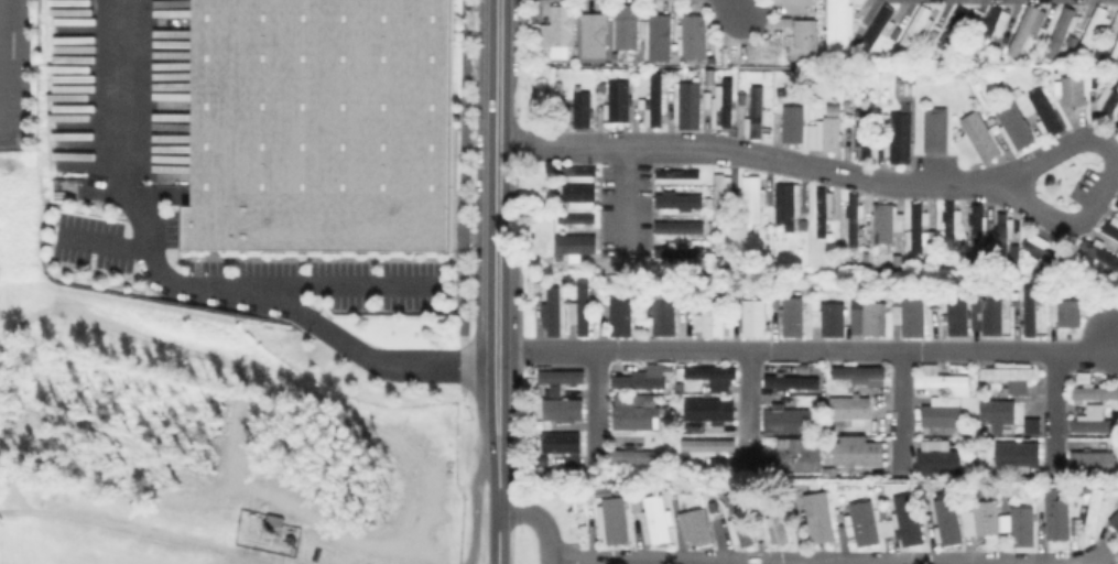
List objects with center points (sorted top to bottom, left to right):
road: (730, 6)
building: (797, 7)
building: (627, 25)
building: (839, 25)
building: (954, 28)
building: (560, 29)
building: (992, 29)
building: (879, 30)
building: (914, 30)
building: (1024, 30)
building: (1093, 32)
building: (1061, 33)
building: (594, 35)
building: (695, 37)
building: (661, 39)
building: (805, 41)
building: (1116, 52)
building: (710, 77)
road: (119, 89)
building: (1074, 91)
building: (708, 100)
building: (1107, 101)
building: (620, 102)
building: (655, 102)
building: (724, 105)
building: (688, 106)
building: (582, 110)
building: (1046, 111)
building: (757, 115)
building: (1117, 122)
building: (795, 124)
building: (1016, 124)
building: (322, 126)
building: (935, 128)
building: (865, 132)
building: (825, 135)
building: (900, 137)
building: (978, 138)
road: (751, 155)
building: (675, 173)
road: (1109, 174)
road: (497, 176)
building: (584, 176)
building: (721, 193)
road: (466, 197)
building: (582, 197)
building: (753, 198)
road: (626, 200)
building: (1117, 203)
building: (679, 204)
building: (789, 204)
building: (824, 208)
building: (578, 221)
building: (886, 221)
building: (951, 223)
building: (919, 225)
building: (856, 226)
building: (978, 227)
building: (1111, 227)
building: (682, 230)
building: (1003, 234)
road: (101, 242)
building: (577, 246)
building: (681, 251)
building: (1045, 251)
building: (1099, 252)
building: (901, 264)
road: (352, 283)
building: (541, 288)
road: (282, 301)
building: (977, 302)
building: (556, 312)
building: (587, 312)
building: (1033, 312)
building: (1070, 313)
building: (915, 315)
building: (962, 316)
building: (625, 317)
building: (795, 317)
building: (996, 317)
building: (759, 318)
building: (879, 318)
building: (715, 319)
building: (669, 321)
building: (837, 321)
road: (807, 350)
building: (805, 370)
building: (671, 372)
building: (714, 375)
building: (860, 375)
building: (558, 376)
building: (1011, 376)
building: (941, 380)
building: (791, 381)
building: (640, 383)
building: (683, 384)
building: (796, 389)
building: (833, 389)
building: (1096, 394)
road: (594, 399)
building: (633, 399)
building: (651, 400)
road: (748, 405)
road: (898, 408)
road: (1052, 408)
building: (712, 412)
building: (853, 412)
building: (565, 413)
building: (1002, 416)
building: (943, 419)
building: (638, 420)
building: (1095, 423)
building: (1029, 424)
building: (792, 425)
road: (497, 430)
building: (698, 430)
building: (563, 444)
building: (710, 447)
building: (860, 455)
building: (639, 457)
building: (1019, 458)
building: (941, 460)
building: (803, 464)
building: (1095, 465)
building: (976, 468)
building: (832, 474)
building: (638, 505)
building: (693, 506)
building: (1096, 510)
road: (538, 519)
building: (823, 520)
building: (985, 521)
building: (1061, 521)
building: (1116, 521)
building: (659, 522)
building: (741, 522)
building: (617, 523)
building: (907, 523)
building: (774, 524)
building: (949, 524)
building: (866, 525)
building: (699, 529)
building: (1028, 531)
road: (497, 535)
road: (747, 561)
road: (547, 562)
road: (658, 562)
road: (800, 563)
road: (946, 563)
road: (1008, 563)

